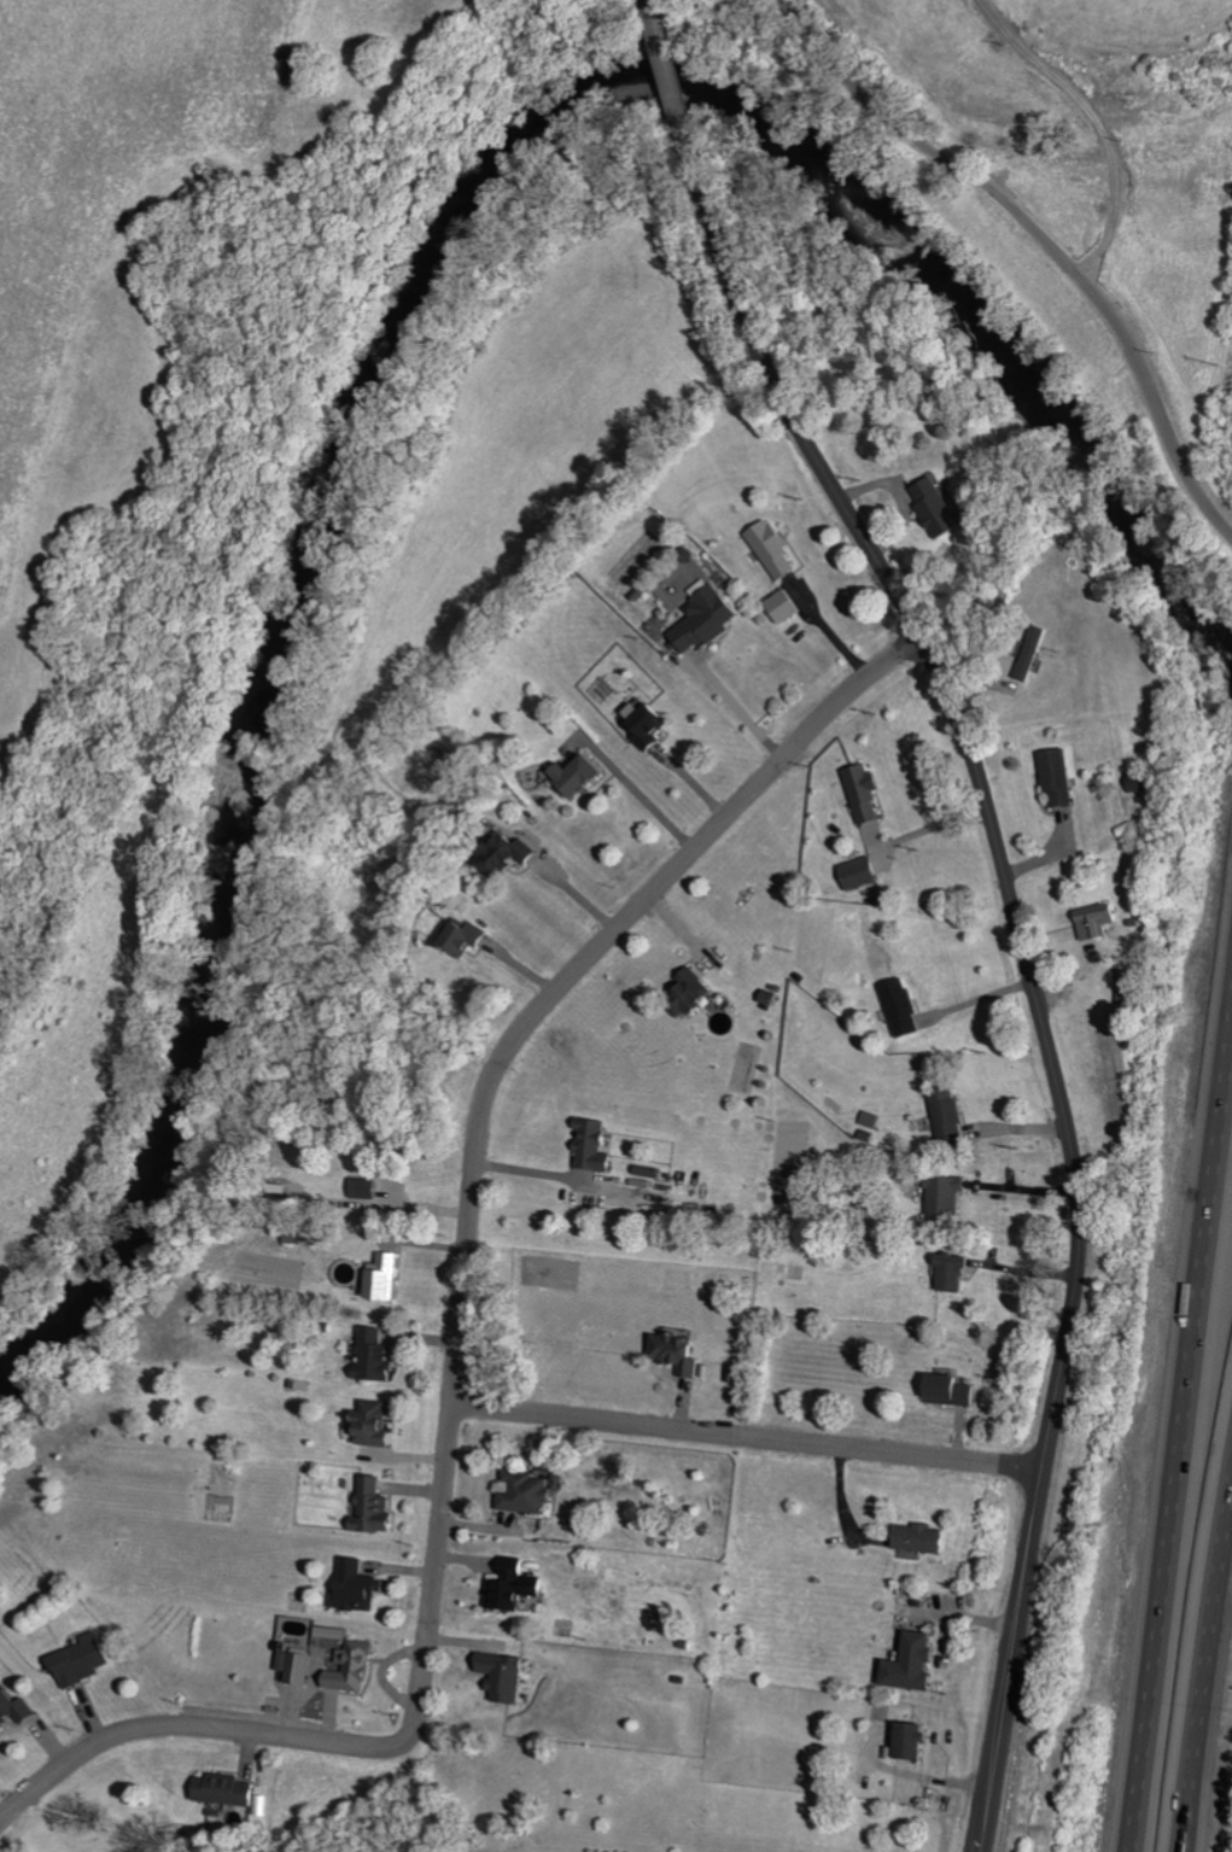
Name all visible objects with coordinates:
road: (652, 8)
road: (665, 62)
road: (1092, 122)
road: (1040, 238)
building: (932, 508)
building: (769, 550)
building: (781, 607)
building: (700, 621)
building: (1030, 655)
building: (641, 726)
building: (582, 775)
building: (1053, 778)
building: (859, 794)
road: (647, 799)
building: (508, 855)
building: (856, 875)
building: (1093, 923)
building: (468, 939)
road: (1024, 948)
building: (694, 992)
building: (905, 1007)
building: (951, 1116)
building: (597, 1145)
road: (556, 1174)
building: (370, 1188)
building: (948, 1196)
building: (959, 1272)
building: (387, 1275)
road: (462, 1322)
building: (682, 1351)
building: (379, 1355)
building: (953, 1390)
road: (1184, 1421)
building: (380, 1424)
road: (749, 1437)
building: (531, 1490)
building: (375, 1507)
building: (926, 1537)
building: (516, 1584)
building: (361, 1585)
building: (86, 1660)
building: (917, 1663)
road: (1203, 1663)
building: (299, 1666)
building: (357, 1667)
building: (507, 1675)
building: (16, 1708)
building: (915, 1740)
road: (912, 1774)
building: (229, 1789)

